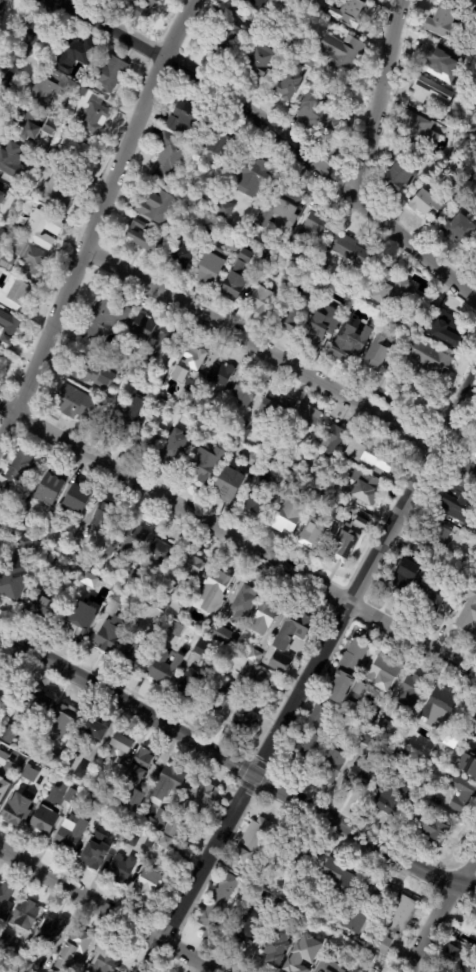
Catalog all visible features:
building: (0, 1)
building: (257, 3)
building: (310, 3)
building: (136, 8)
building: (348, 13)
building: (444, 22)
building: (225, 36)
building: (271, 37)
road: (24, 43)
building: (343, 53)
building: (72, 54)
building: (279, 59)
building: (258, 61)
building: (311, 62)
building: (442, 64)
building: (110, 73)
building: (271, 77)
building: (289, 83)
building: (69, 87)
road: (372, 93)
building: (425, 93)
building: (41, 95)
building: (93, 116)
building: (319, 116)
building: (187, 121)
building: (28, 126)
building: (419, 129)
building: (48, 131)
road: (270, 134)
building: (67, 141)
building: (218, 141)
building: (85, 154)
building: (168, 155)
building: (12, 163)
building: (399, 170)
building: (252, 175)
building: (461, 183)
building: (58, 191)
building: (209, 192)
building: (1, 198)
building: (231, 201)
building: (425, 202)
building: (158, 205)
building: (223, 208)
building: (282, 208)
road: (98, 221)
building: (314, 225)
building: (42, 229)
building: (457, 229)
building: (13, 231)
building: (207, 232)
building: (2, 236)
building: (142, 237)
building: (294, 246)
building: (233, 248)
building: (350, 249)
building: (475, 250)
building: (182, 251)
building: (475, 254)
building: (30, 257)
building: (6, 263)
building: (211, 265)
building: (237, 276)
building: (288, 276)
building: (316, 291)
building: (396, 292)
building: (19, 293)
building: (261, 298)
building: (341, 306)
building: (290, 312)
building: (105, 316)
building: (445, 325)
building: (317, 327)
building: (9, 331)
building: (140, 331)
building: (396, 340)
building: (87, 342)
building: (350, 342)
building: (160, 345)
road: (258, 354)
building: (0, 355)
building: (375, 357)
building: (433, 359)
building: (116, 360)
building: (403, 361)
building: (190, 363)
building: (90, 372)
building: (220, 374)
building: (246, 390)
building: (413, 392)
building: (185, 396)
building: (69, 397)
building: (138, 401)
building: (96, 406)
building: (150, 406)
building: (275, 407)
building: (210, 411)
building: (304, 419)
building: (121, 420)
building: (239, 428)
building: (247, 433)
building: (147, 438)
building: (331, 438)
building: (233, 442)
building: (242, 447)
building: (172, 448)
building: (230, 450)
building: (473, 452)
building: (368, 454)
building: (253, 460)
building: (207, 463)
building: (19, 470)
building: (467, 478)
building: (295, 480)
building: (228, 484)
building: (51, 486)
building: (366, 486)
building: (328, 489)
building: (257, 495)
building: (77, 498)
building: (324, 500)
building: (27, 507)
building: (457, 508)
building: (2, 510)
building: (106, 513)
building: (286, 513)
building: (1, 527)
building: (438, 533)
building: (314, 535)
road: (237, 537)
building: (347, 540)
building: (132, 542)
building: (20, 543)
building: (112, 547)
building: (59, 548)
building: (415, 550)
building: (160, 552)
building: (74, 554)
building: (0, 556)
building: (54, 561)
building: (187, 569)
building: (74, 574)
building: (405, 575)
road: (367, 576)
building: (14, 578)
building: (90, 580)
building: (131, 581)
building: (213, 591)
building: (428, 596)
building: (151, 603)
building: (244, 603)
building: (176, 604)
building: (43, 607)
building: (468, 609)
building: (145, 610)
building: (264, 618)
building: (76, 620)
building: (111, 625)
building: (205, 627)
building: (176, 629)
building: (221, 635)
building: (473, 637)
building: (289, 638)
building: (136, 651)
building: (205, 651)
building: (255, 656)
building: (163, 667)
building: (347, 671)
building: (385, 672)
building: (248, 673)
building: (264, 679)
building: (191, 686)
building: (11, 687)
building: (359, 687)
building: (412, 691)
building: (219, 696)
building: (353, 698)
building: (37, 704)
building: (440, 708)
building: (353, 710)
building: (472, 712)
building: (319, 714)
building: (246, 717)
building: (62, 720)
building: (343, 723)
building: (383, 726)
building: (94, 729)
building: (474, 731)
building: (8, 734)
building: (369, 738)
building: (410, 741)
building: (307, 747)
building: (119, 748)
building: (400, 755)
building: (3, 758)
building: (49, 761)
building: (469, 763)
road: (236, 764)
building: (331, 765)
building: (139, 766)
building: (366, 772)
building: (29, 773)
building: (80, 775)
building: (167, 783)
building: (64, 788)
building: (3, 789)
building: (461, 794)
building: (390, 798)
building: (133, 801)
building: (413, 803)
building: (192, 805)
building: (16, 810)
building: (144, 816)
building: (159, 820)
building: (42, 823)
building: (104, 825)
building: (431, 830)
building: (70, 833)
building: (131, 840)
building: (150, 841)
building: (165, 843)
building: (253, 845)
building: (95, 854)
building: (299, 856)
building: (121, 869)
road: (201, 873)
building: (338, 877)
building: (148, 883)
building: (5, 901)
building: (217, 905)
road: (110, 910)
building: (361, 910)
road: (441, 914)
building: (24, 915)
building: (396, 924)
building: (469, 925)
building: (452, 926)
building: (250, 929)
building: (50, 933)
building: (5, 945)
building: (475, 946)
building: (276, 948)
building: (357, 948)
building: (73, 949)
building: (304, 955)
building: (449, 955)
building: (103, 959)
building: (469, 965)
building: (36, 967)
building: (327, 968)

